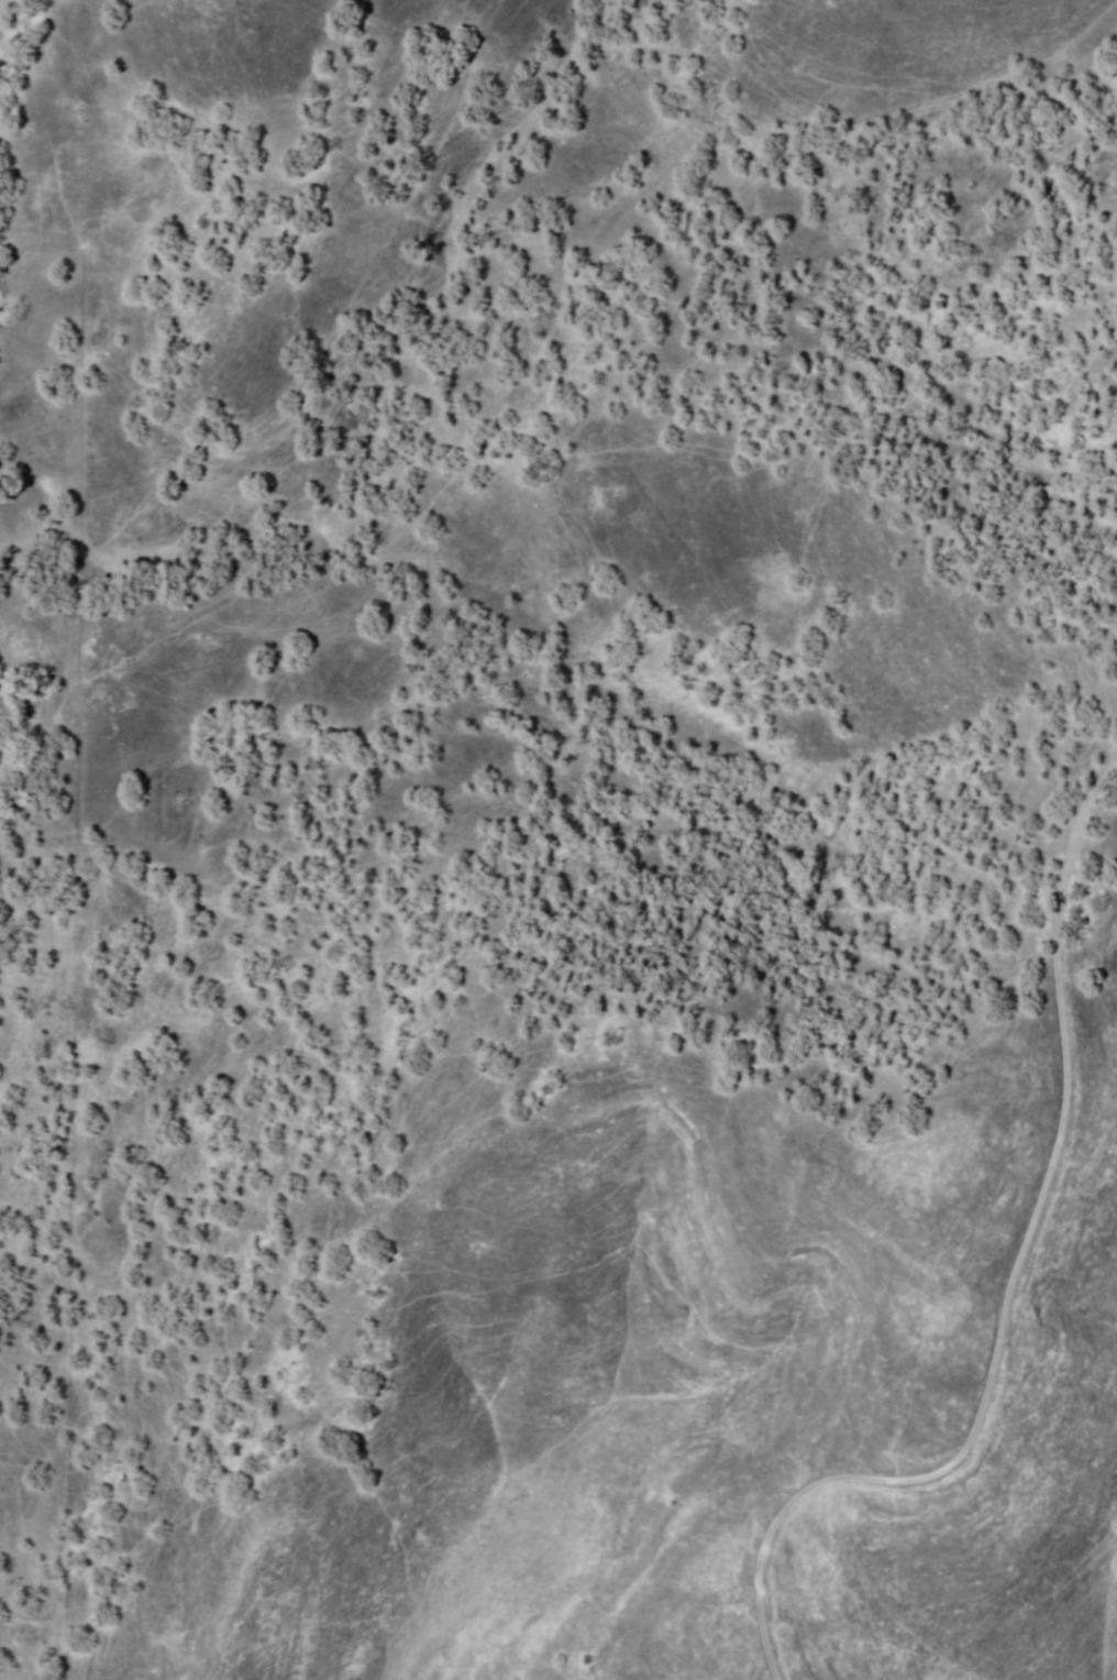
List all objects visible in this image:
road: (1005, 1284)

